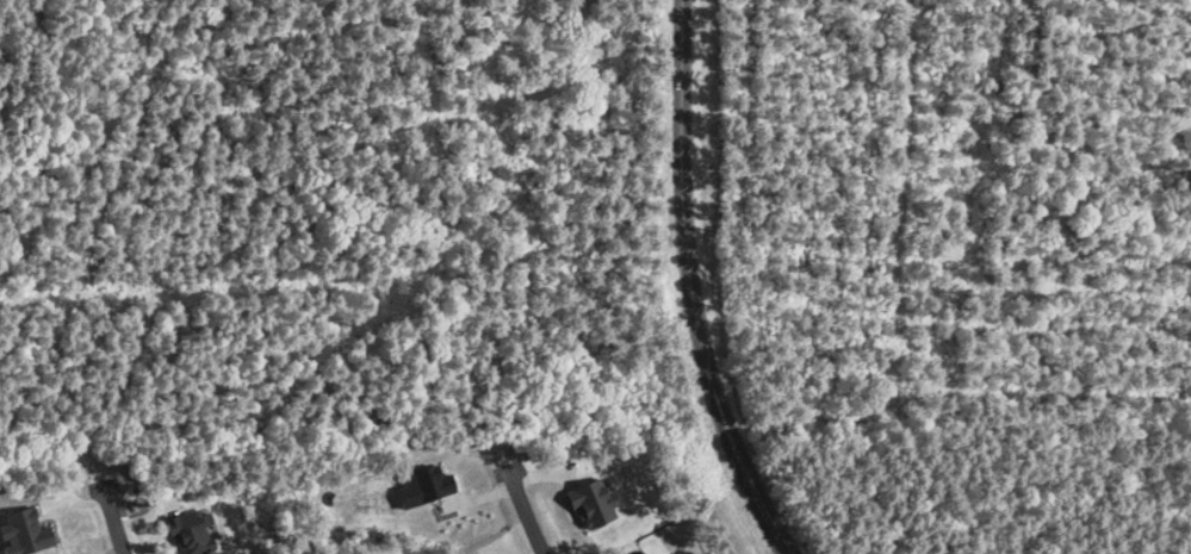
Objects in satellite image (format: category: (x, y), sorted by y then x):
road: (689, 287)
road: (525, 513)
road: (112, 518)

